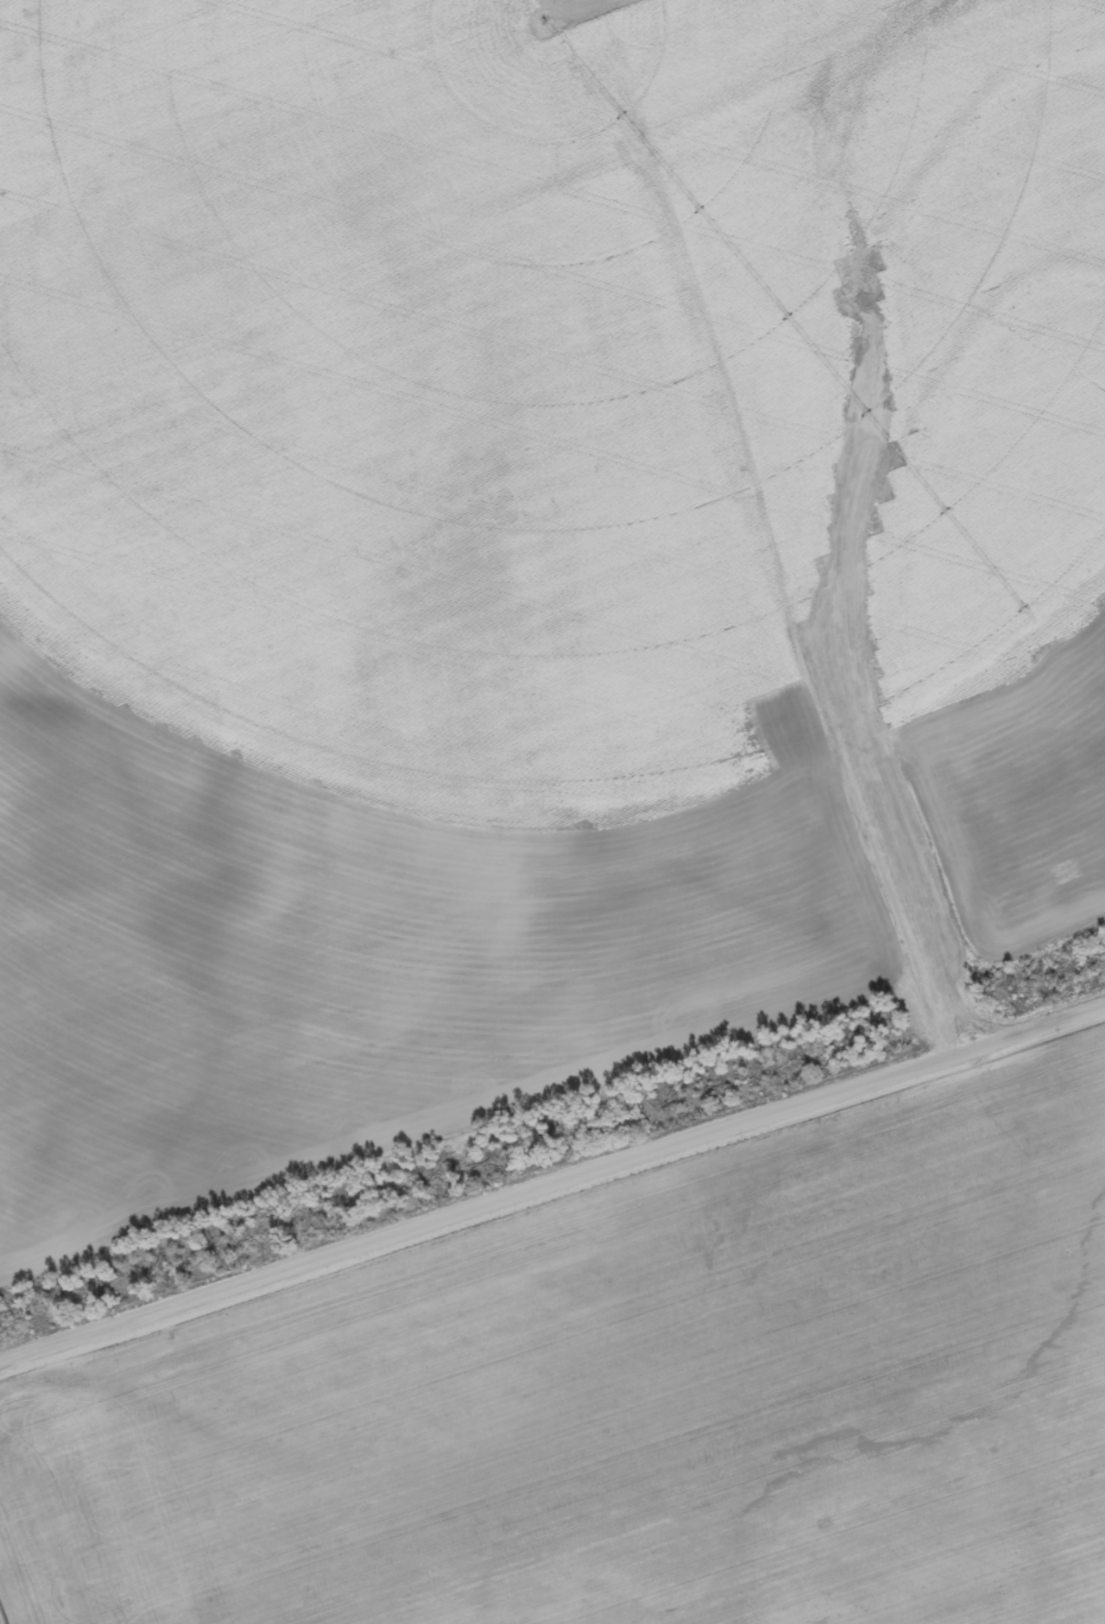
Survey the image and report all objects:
road: (710, 538)
road: (552, 1175)

